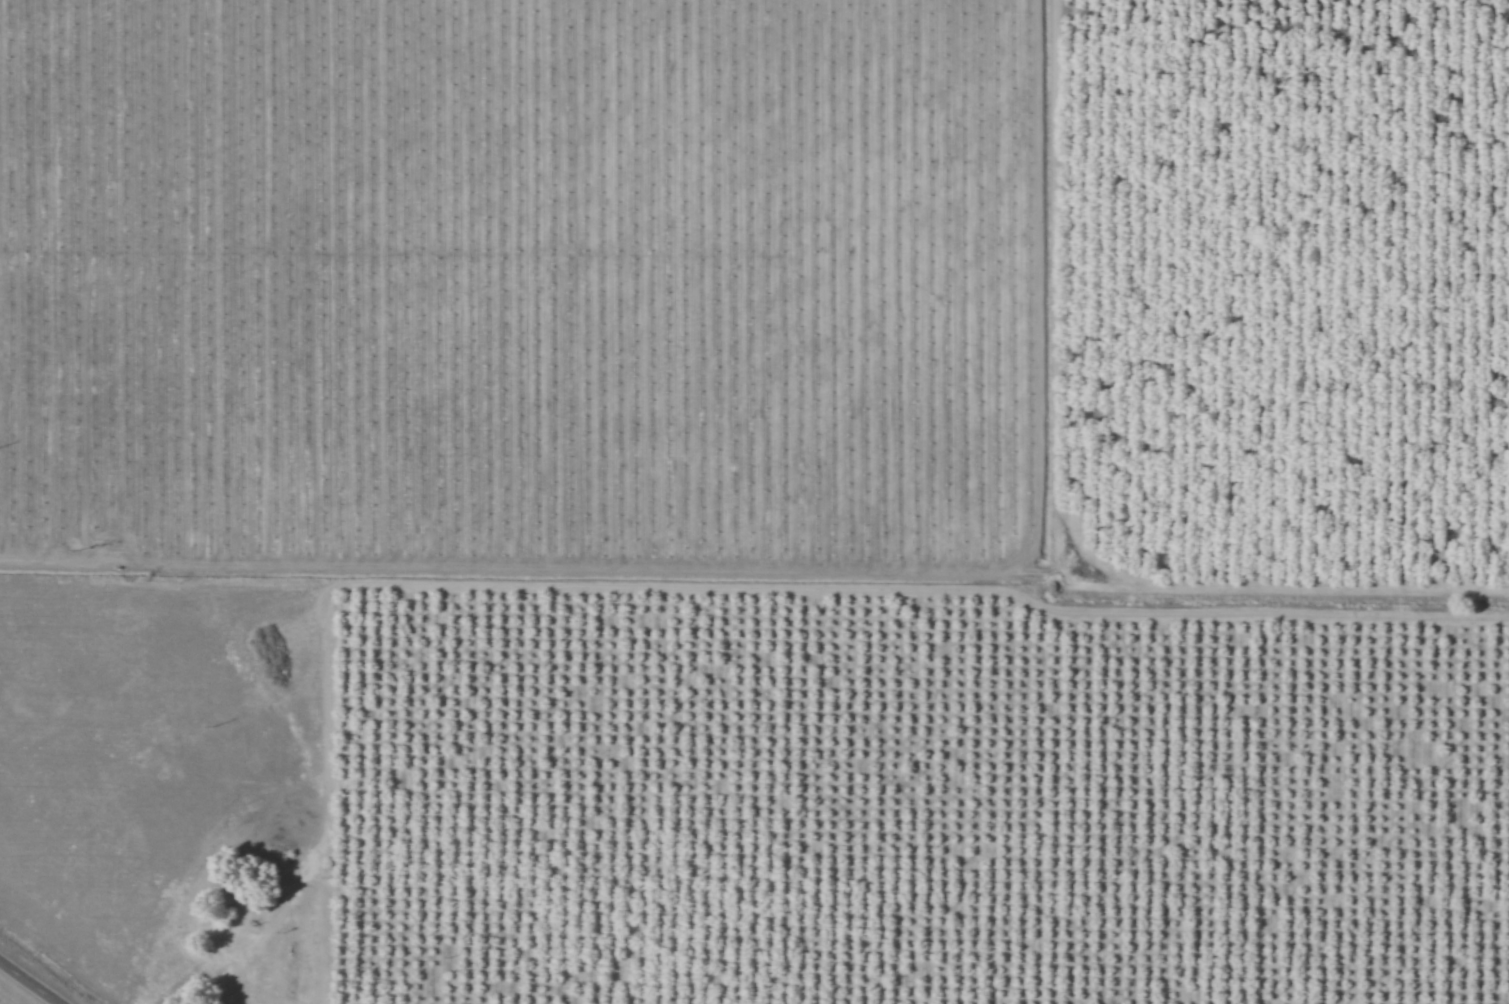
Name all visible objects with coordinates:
road: (32, 980)

